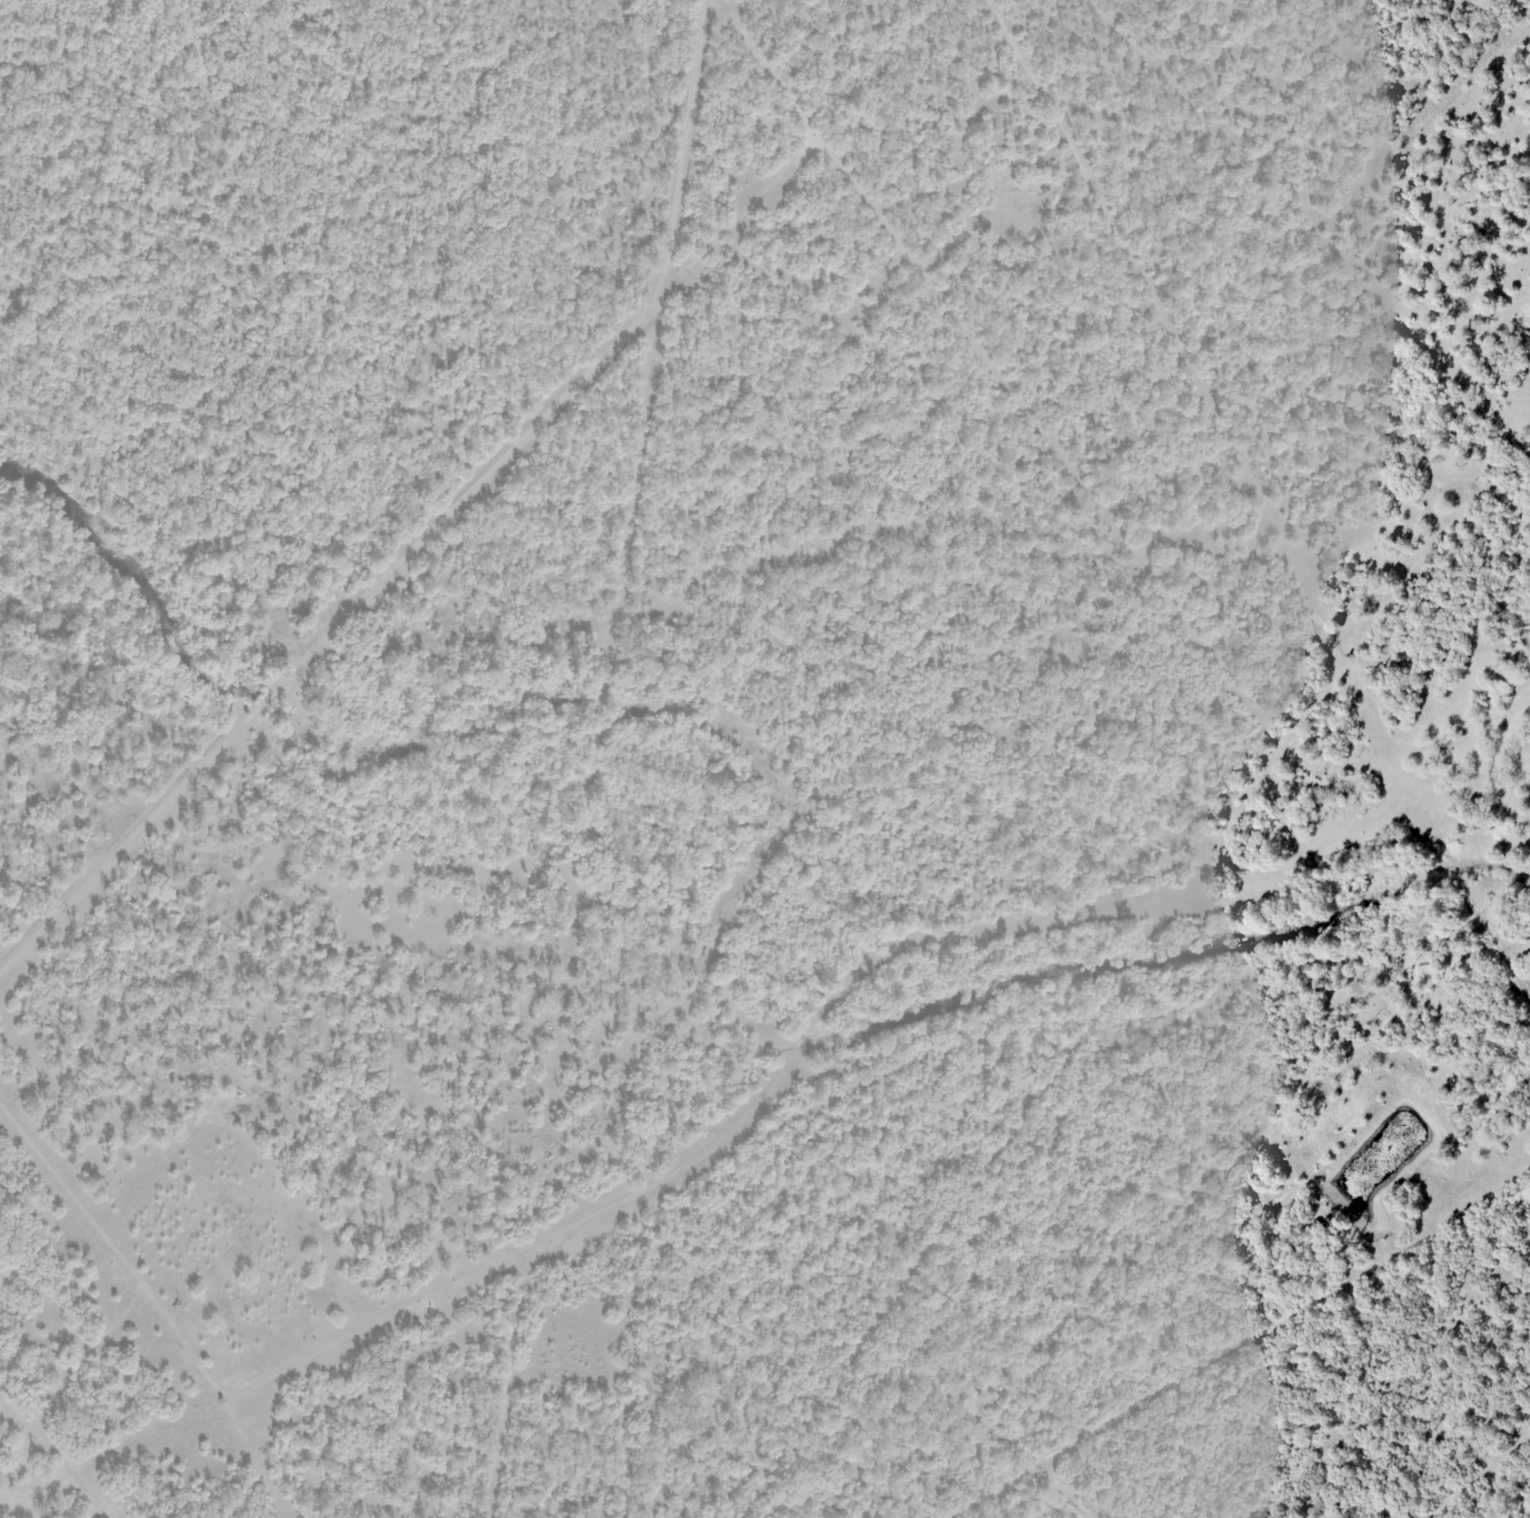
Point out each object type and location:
road: (1481, 1083)
road: (80, 1195)

